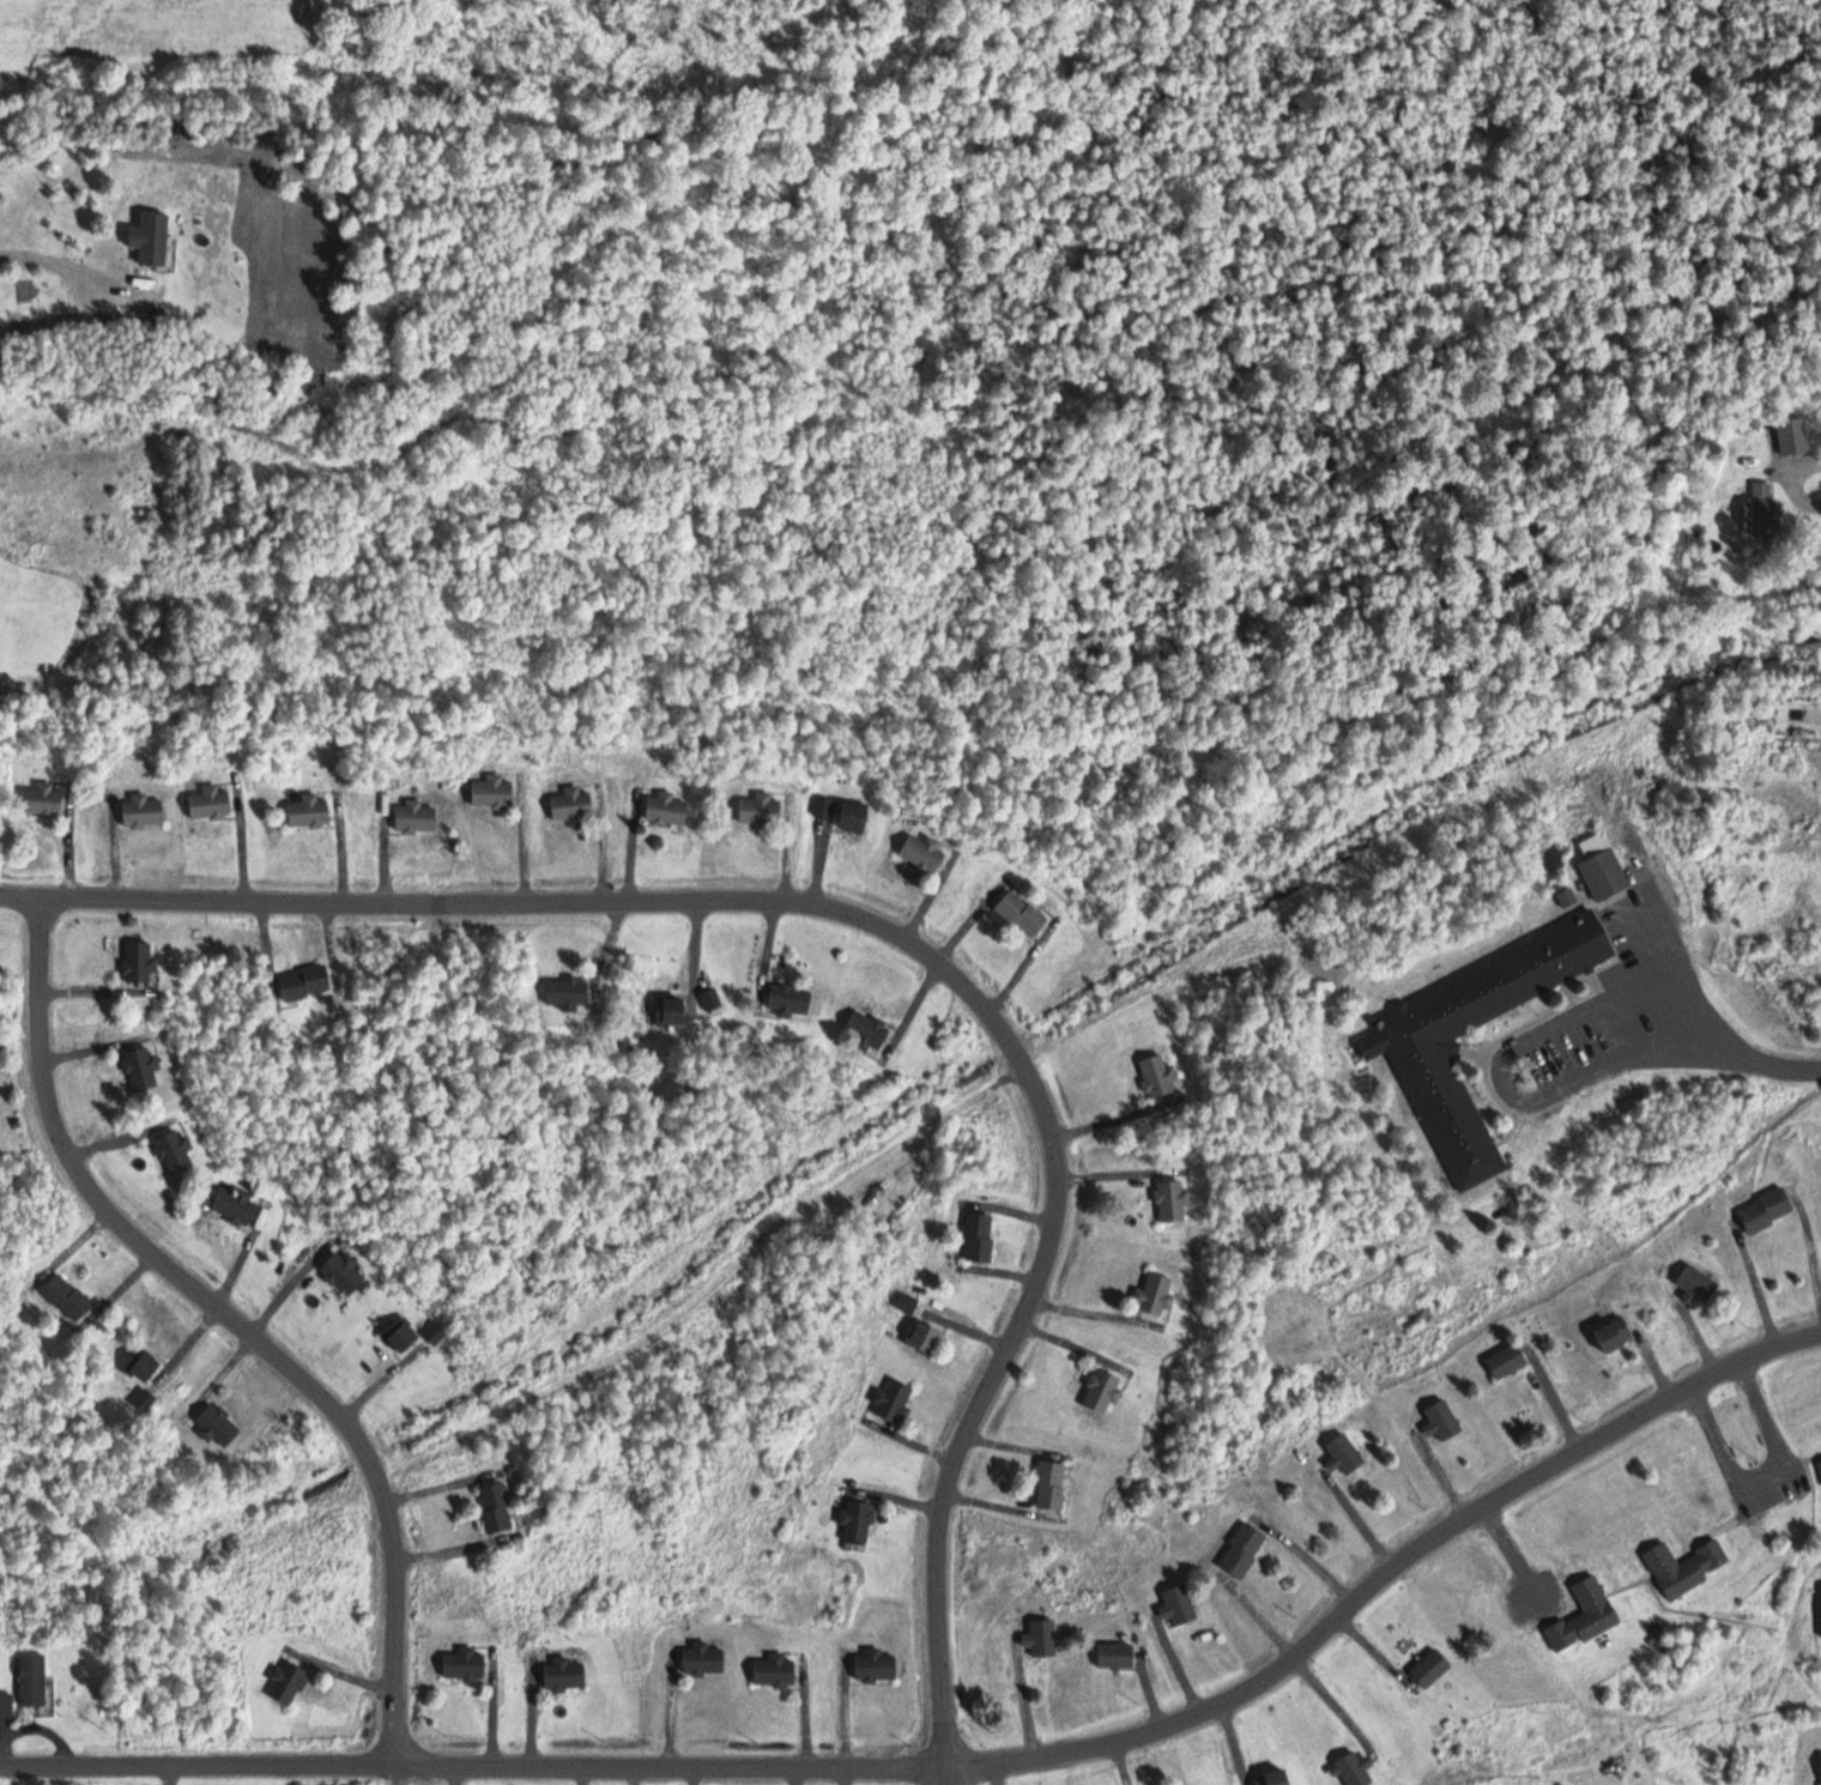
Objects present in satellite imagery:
building: (151, 238)
road: (1807, 461)
building: (1762, 508)
building: (1798, 714)
building: (494, 792)
building: (41, 800)
building: (573, 804)
building: (827, 807)
building: (761, 809)
building: (666, 810)
building: (309, 811)
building: (143, 812)
building: (853, 816)
building: (416, 818)
building: (1550, 854)
building: (922, 855)
building: (1603, 872)
building: (1022, 914)
road: (914, 938)
building: (140, 964)
building: (305, 982)
building: (565, 993)
building: (712, 999)
building: (789, 999)
building: (672, 1011)
building: (866, 1030)
building: (1418, 1049)
road: (1504, 1061)
building: (143, 1069)
road: (1796, 1069)
building: (1158, 1076)
building: (174, 1152)
building: (1172, 1202)
building: (235, 1204)
building: (1766, 1211)
building: (986, 1239)
building: (344, 1273)
building: (1699, 1284)
building: (1154, 1295)
building: (67, 1299)
building: (438, 1332)
building: (1615, 1336)
building: (403, 1337)
building: (1507, 1362)
building: (145, 1368)
building: (1101, 1392)
building: (893, 1403)
building: (144, 1404)
building: (1444, 1423)
building: (218, 1427)
building: (1344, 1454)
building: (1820, 1465)
building: (1052, 1486)
building: (496, 1508)
building: (855, 1521)
building: (1242, 1550)
building: (1686, 1567)
building: (1179, 1605)
building: (1585, 1616)
building: (1042, 1638)
building: (1115, 1656)
building: (703, 1660)
building: (464, 1664)
building: (875, 1665)
building: (1432, 1668)
building: (774, 1671)
building: (564, 1674)
building: (32, 1680)
building: (286, 1683)
building: (6, 1705)
road: (210, 1765)
road: (672, 1765)
building: (1355, 1769)
building: (1272, 1778)

